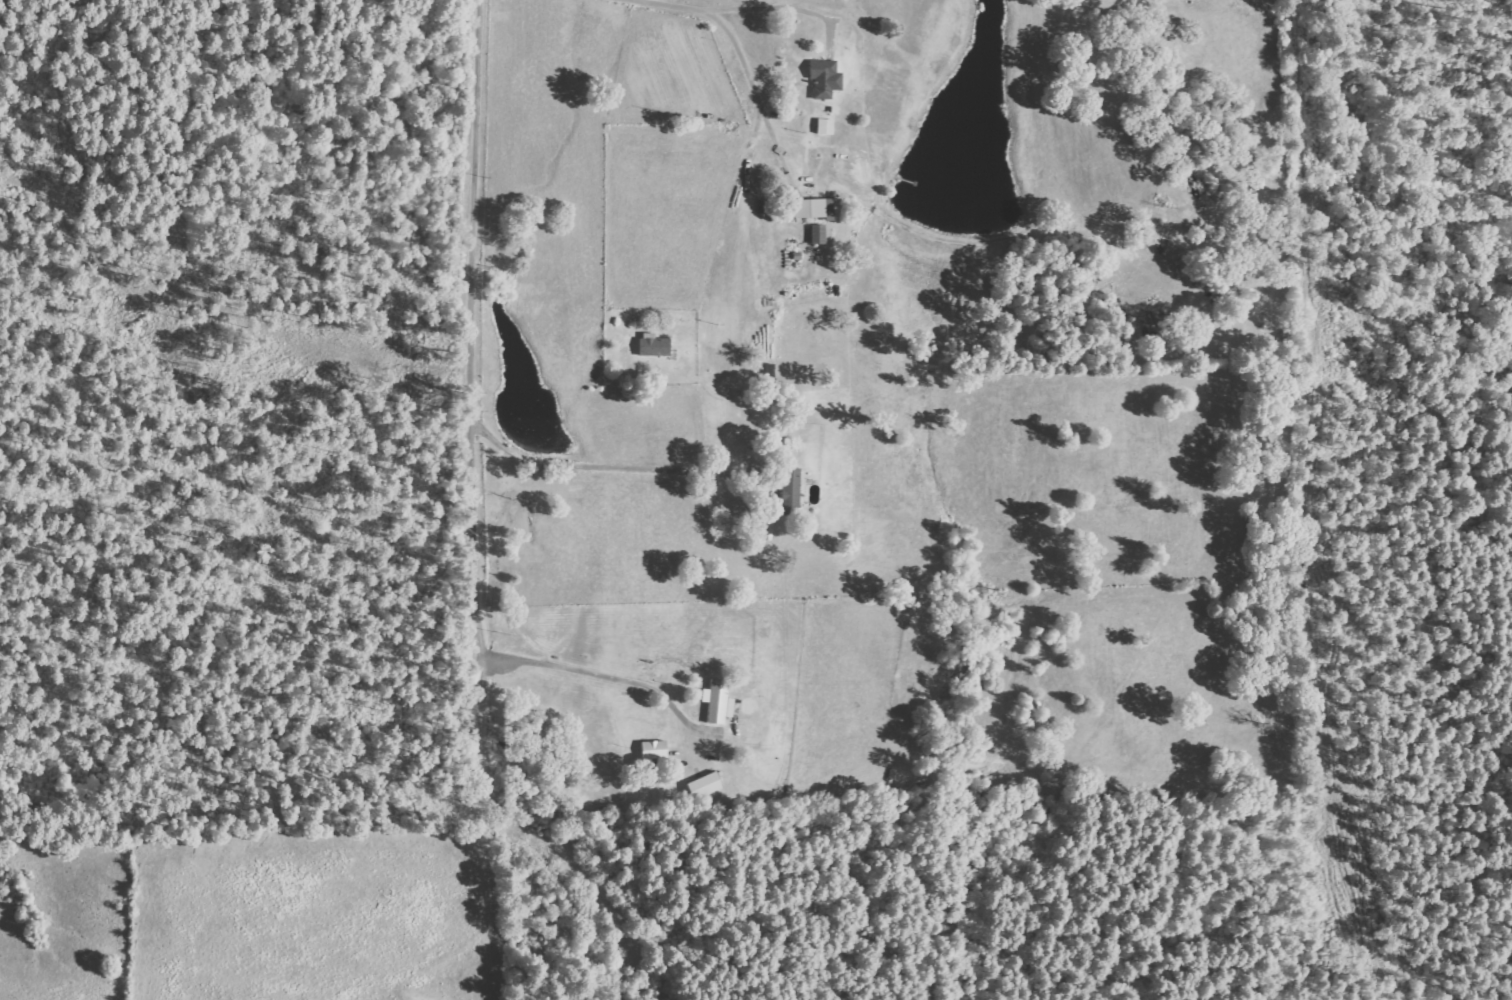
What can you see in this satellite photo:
building: (823, 79)
building: (823, 126)
building: (814, 208)
building: (815, 234)
building: (652, 345)
building: (788, 491)
road: (476, 500)
building: (716, 702)
building: (652, 750)
building: (705, 786)

